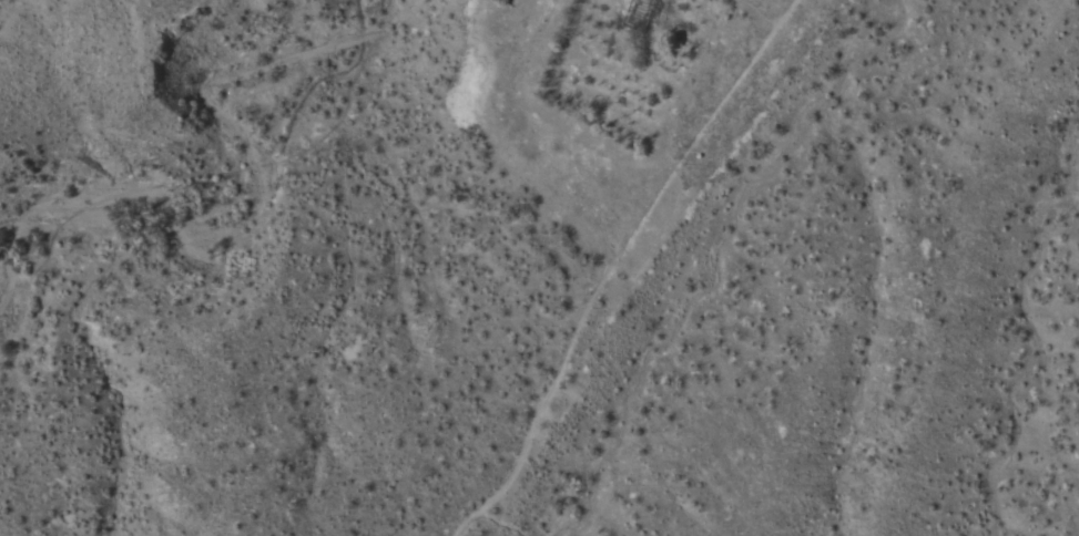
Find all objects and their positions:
road: (711, 122)

